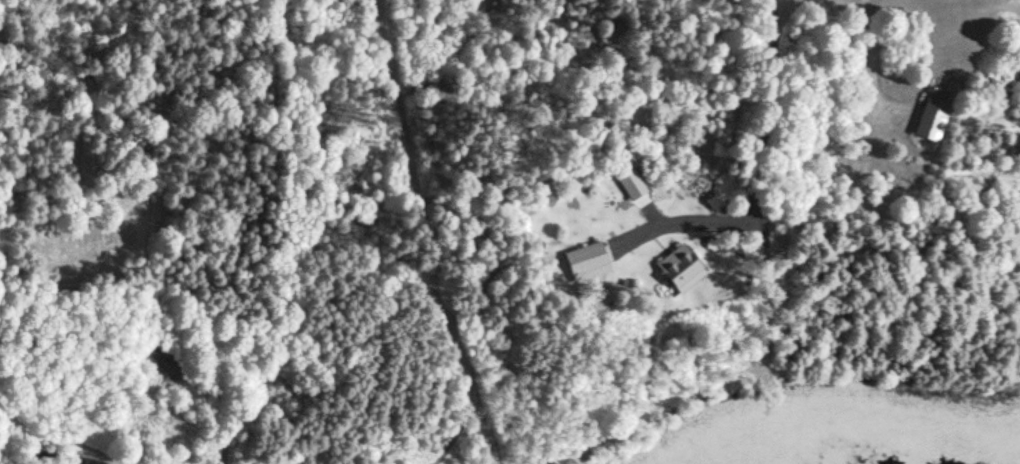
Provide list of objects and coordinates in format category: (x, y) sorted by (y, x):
building: (932, 113)

